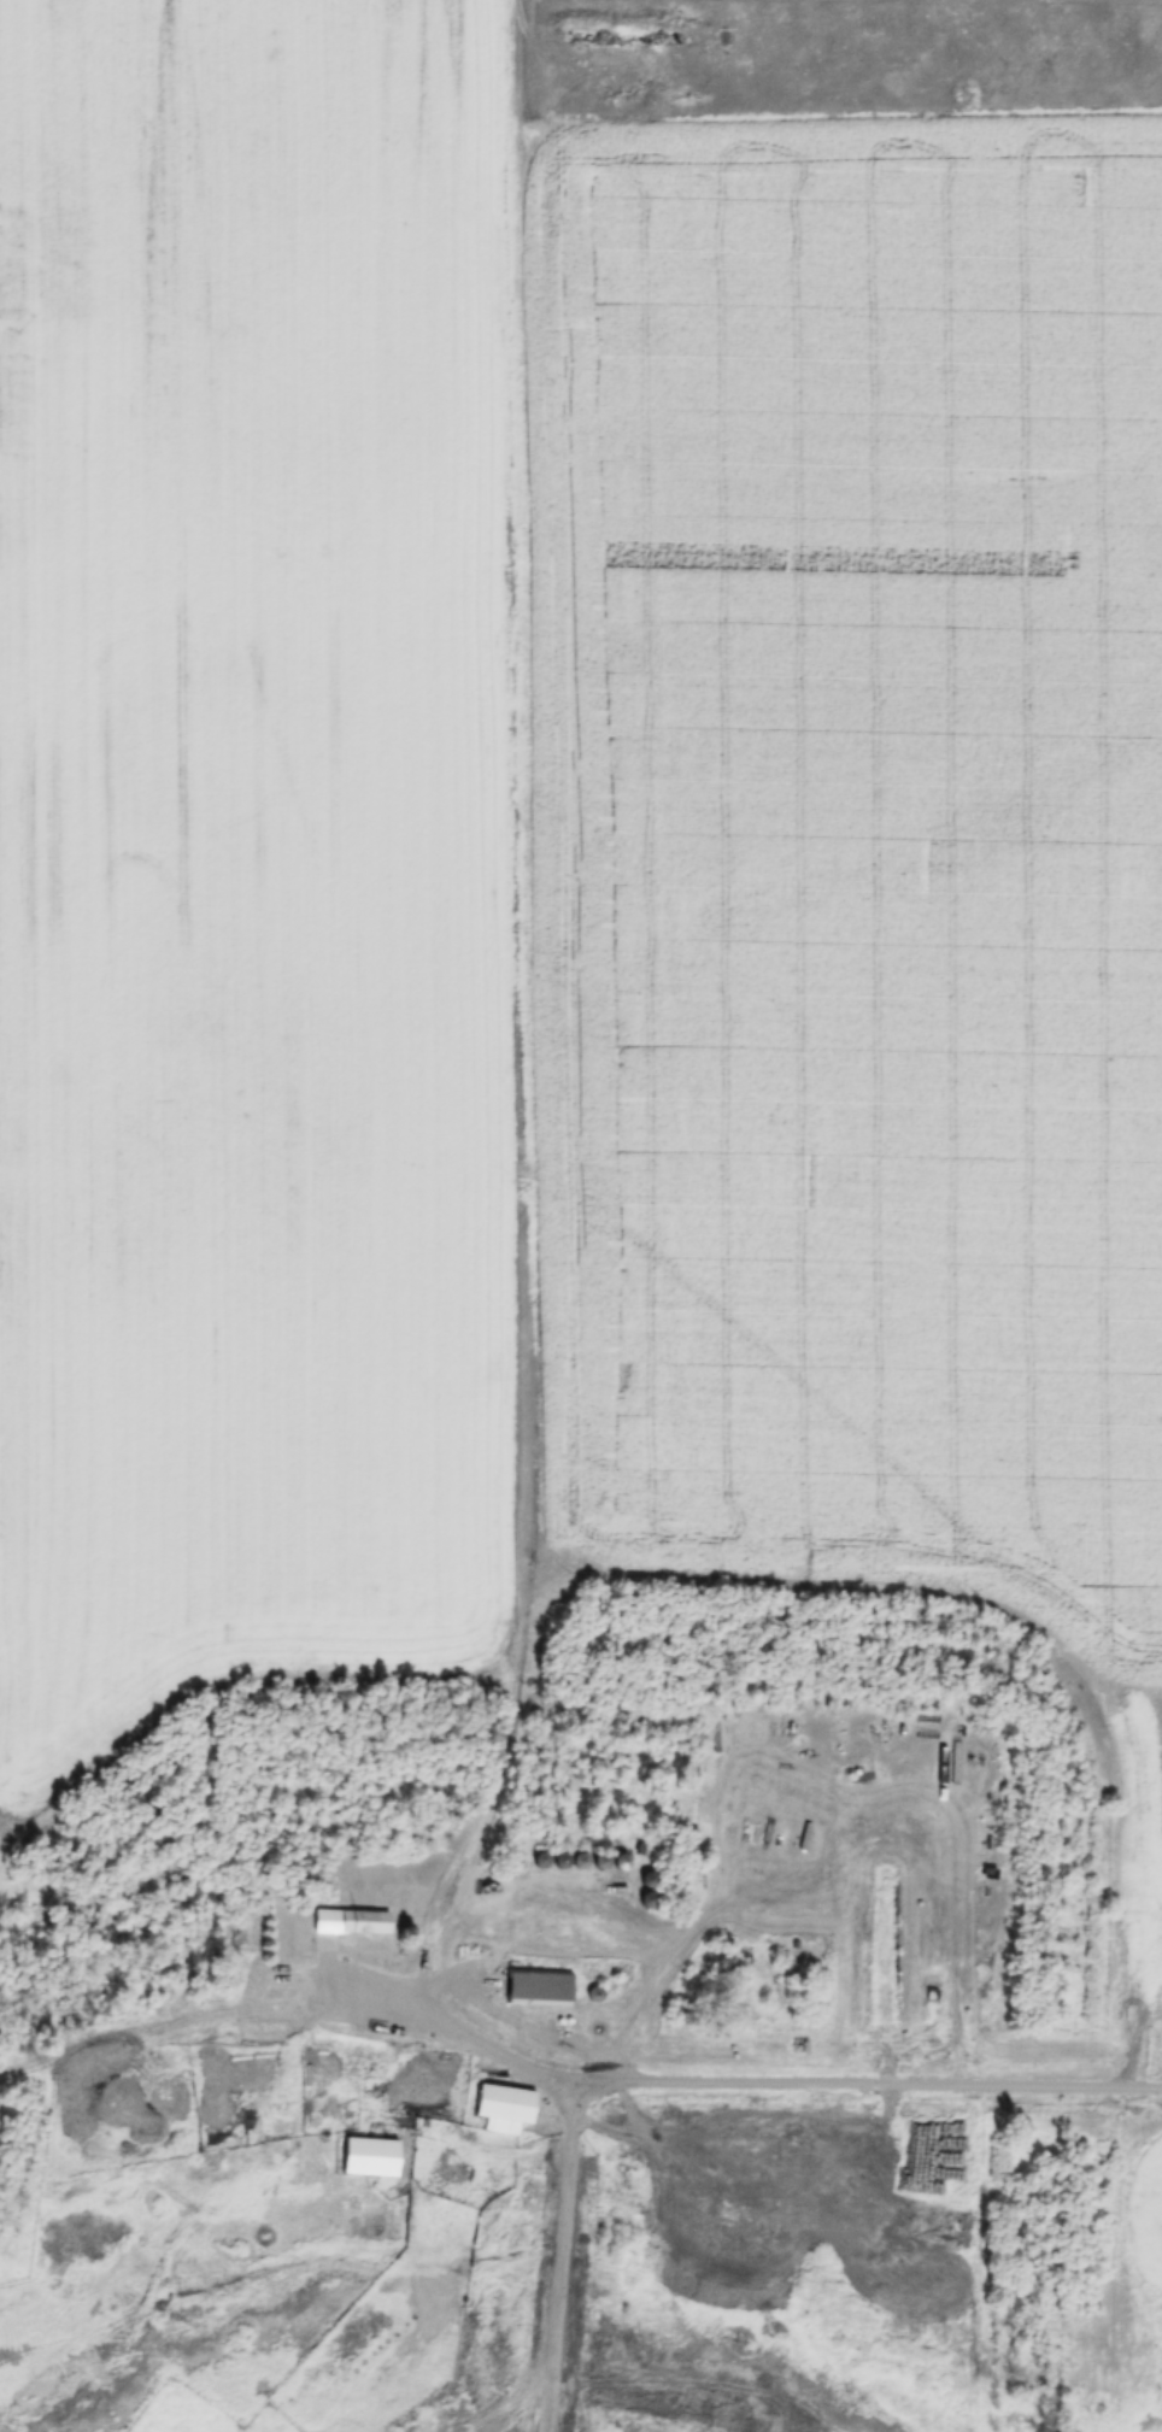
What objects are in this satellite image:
road: (547, 51)
building: (351, 1922)
building: (539, 1989)
building: (270, 2020)
building: (362, 2061)
road: (693, 2083)
building: (504, 2105)
building: (371, 2154)
building: (605, 2424)

